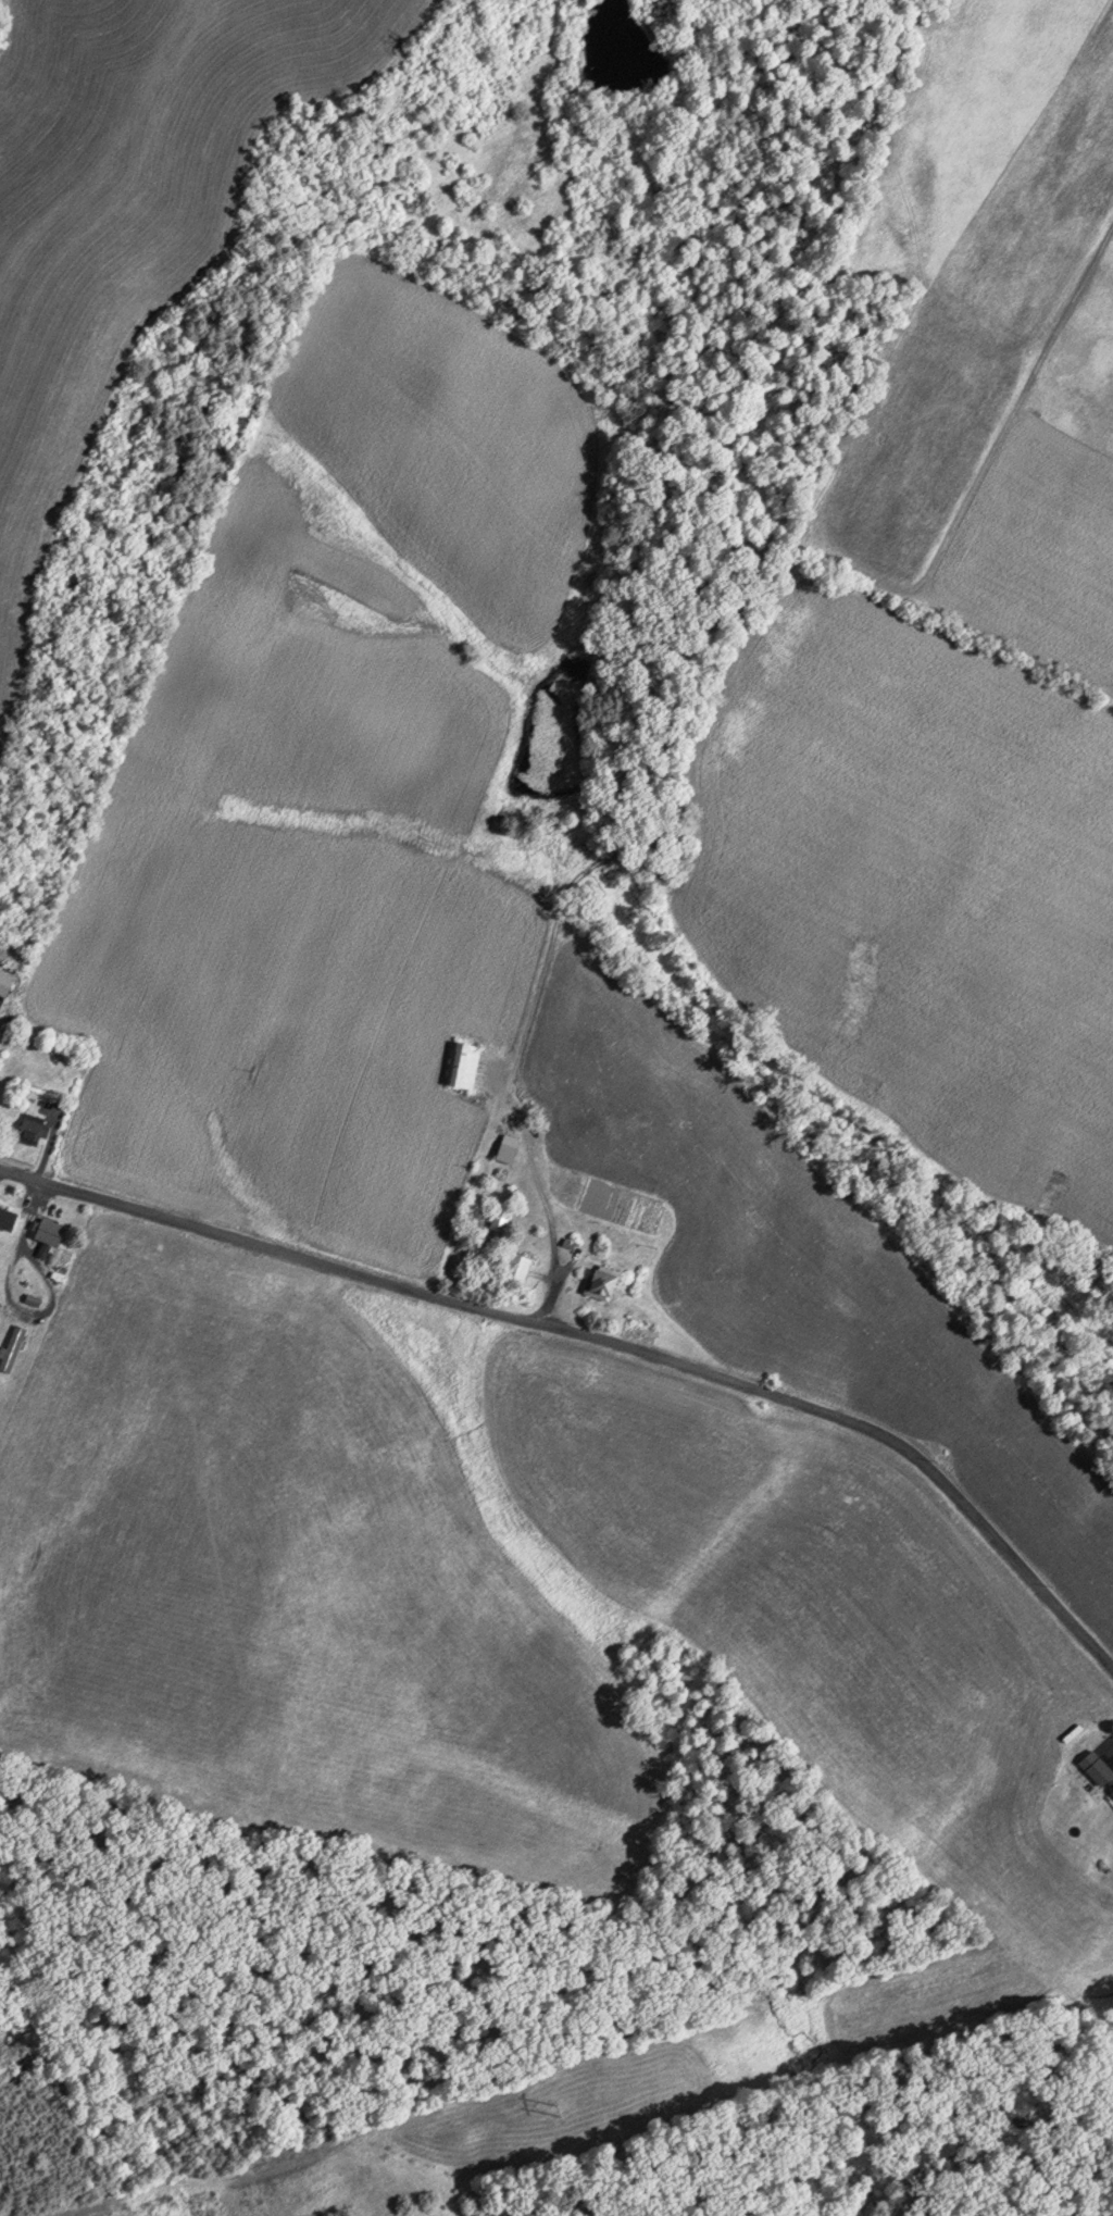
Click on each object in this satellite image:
crop: (126, 208)
crop: (987, 247)
crop: (1053, 500)
crop: (337, 789)
crop: (923, 882)
building: (8, 984)
building: (465, 1065)
building: (34, 1129)
building: (509, 1150)
road: (47, 1151)
road: (534, 1203)
building: (9, 1219)
building: (500, 1221)
building: (53, 1230)
building: (568, 1241)
building: (517, 1266)
crop: (805, 1271)
building: (606, 1280)
road: (11, 1296)
building: (35, 1300)
road: (600, 1343)
building: (13, 1349)
crop: (774, 1578)
crop: (291, 1585)
building: (1080, 1740)
building: (1103, 1770)
building: (1112, 1797)

